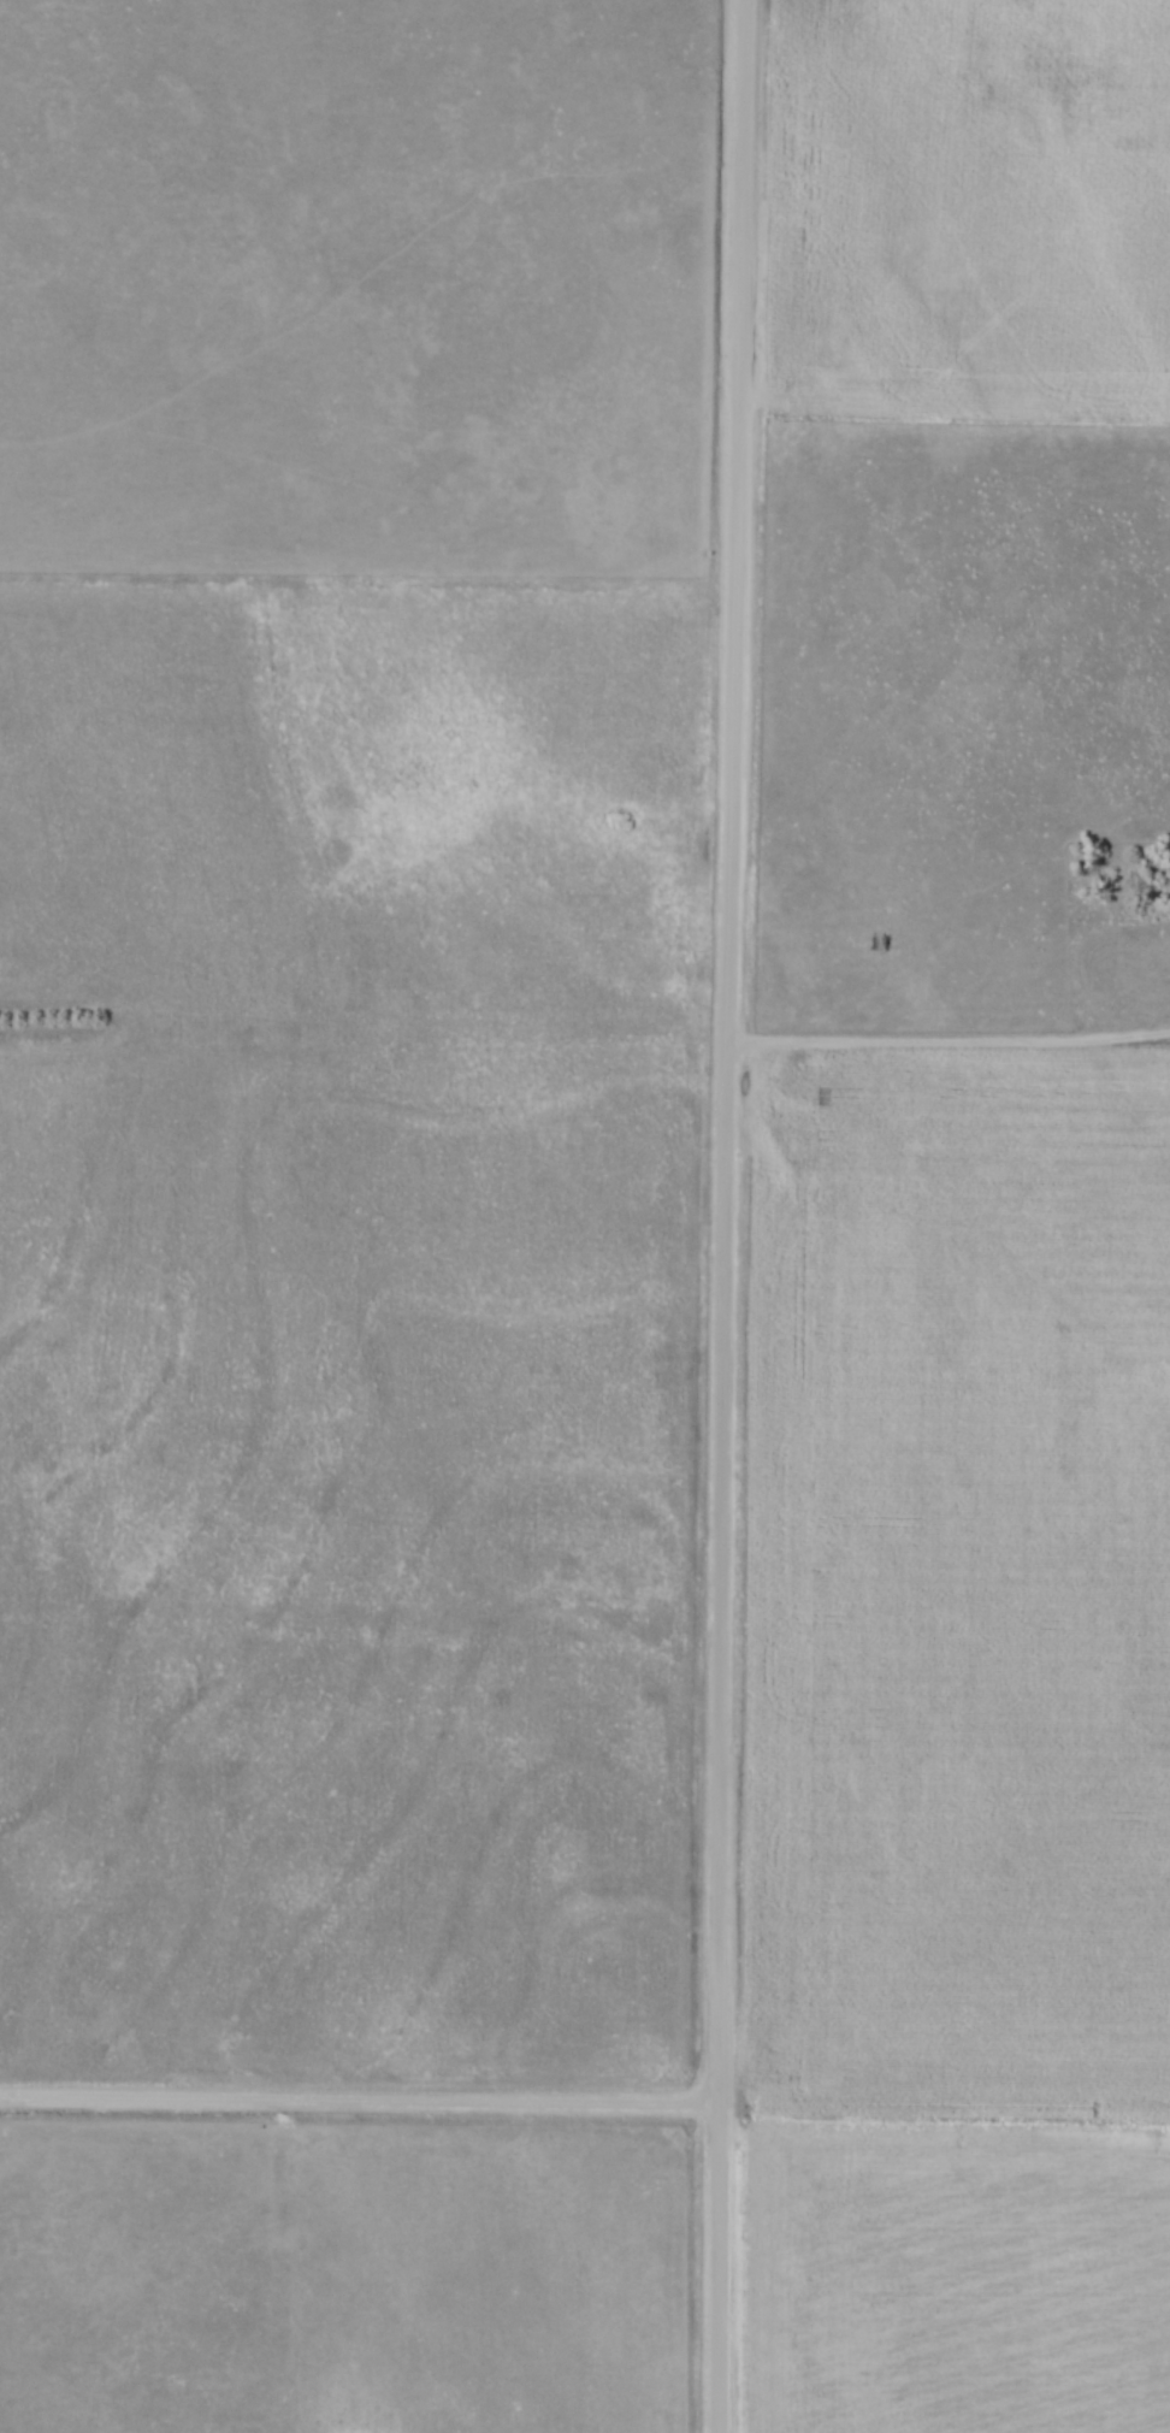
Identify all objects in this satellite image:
road: (728, 1216)
road: (357, 2101)

